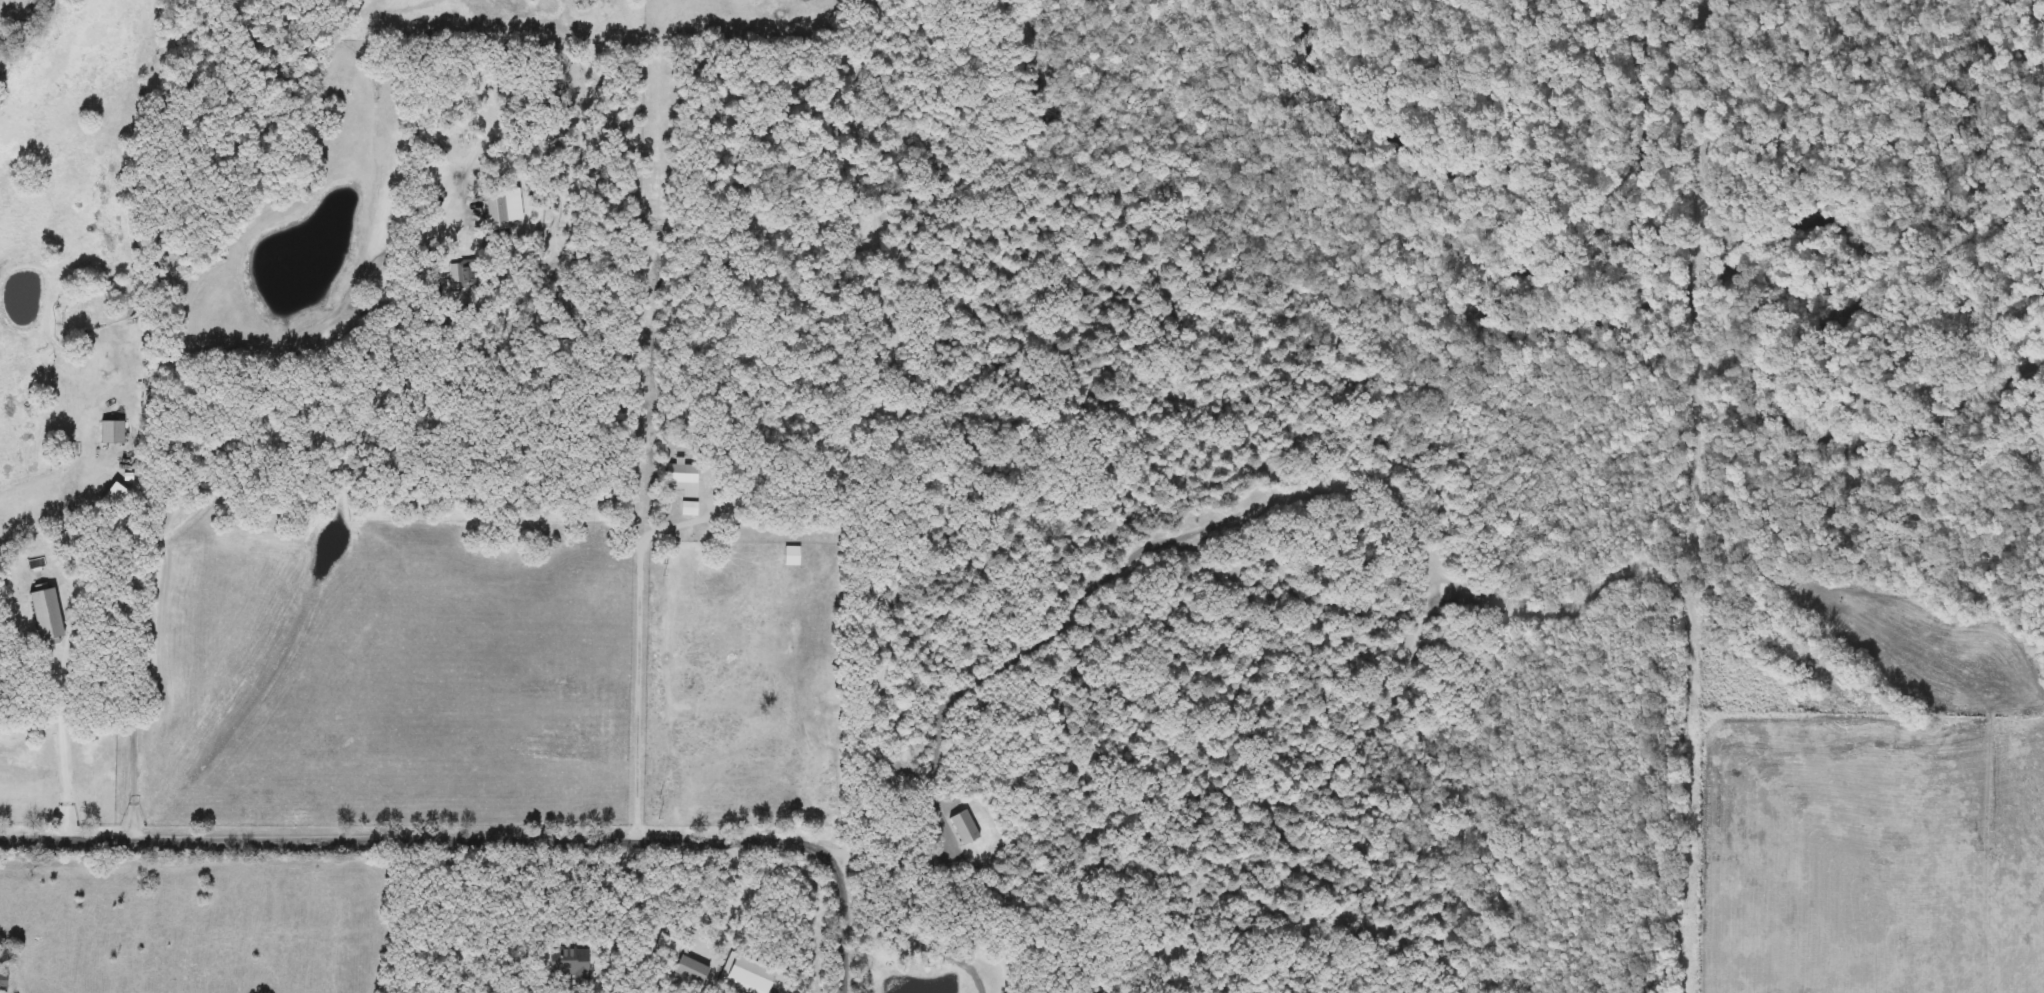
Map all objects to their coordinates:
building: (501, 207)
building: (467, 273)
road: (236, 431)
building: (112, 432)
building: (682, 473)
building: (44, 613)
road: (71, 646)
building: (690, 649)
road: (638, 655)
building: (724, 722)
building: (963, 827)
road: (485, 836)
road: (742, 895)
road: (419, 927)
building: (1157, 941)
building: (568, 963)
building: (690, 969)
building: (3, 980)

